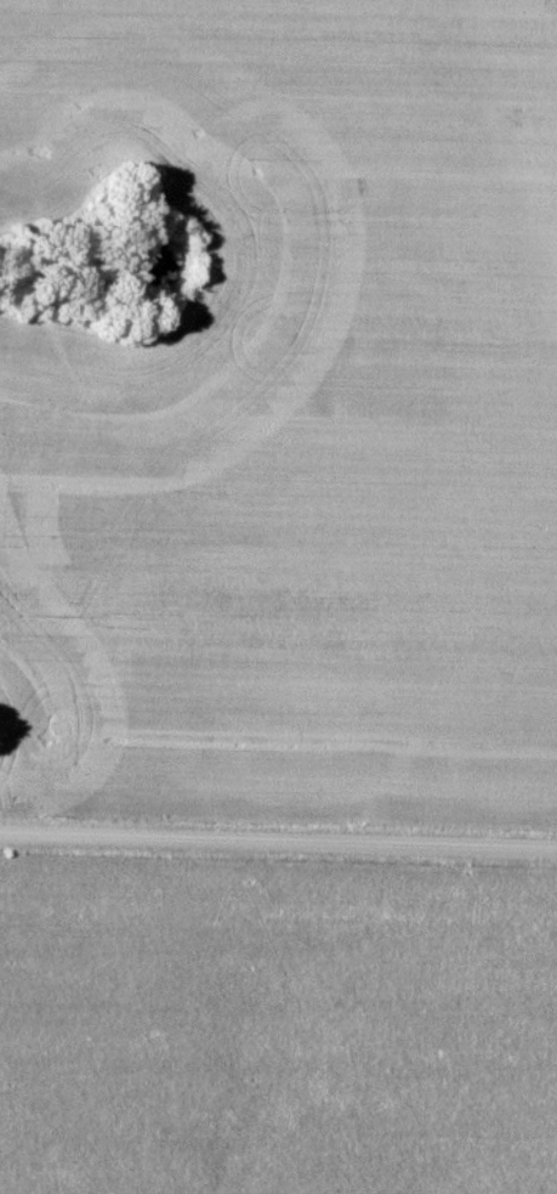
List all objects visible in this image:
road: (278, 843)

